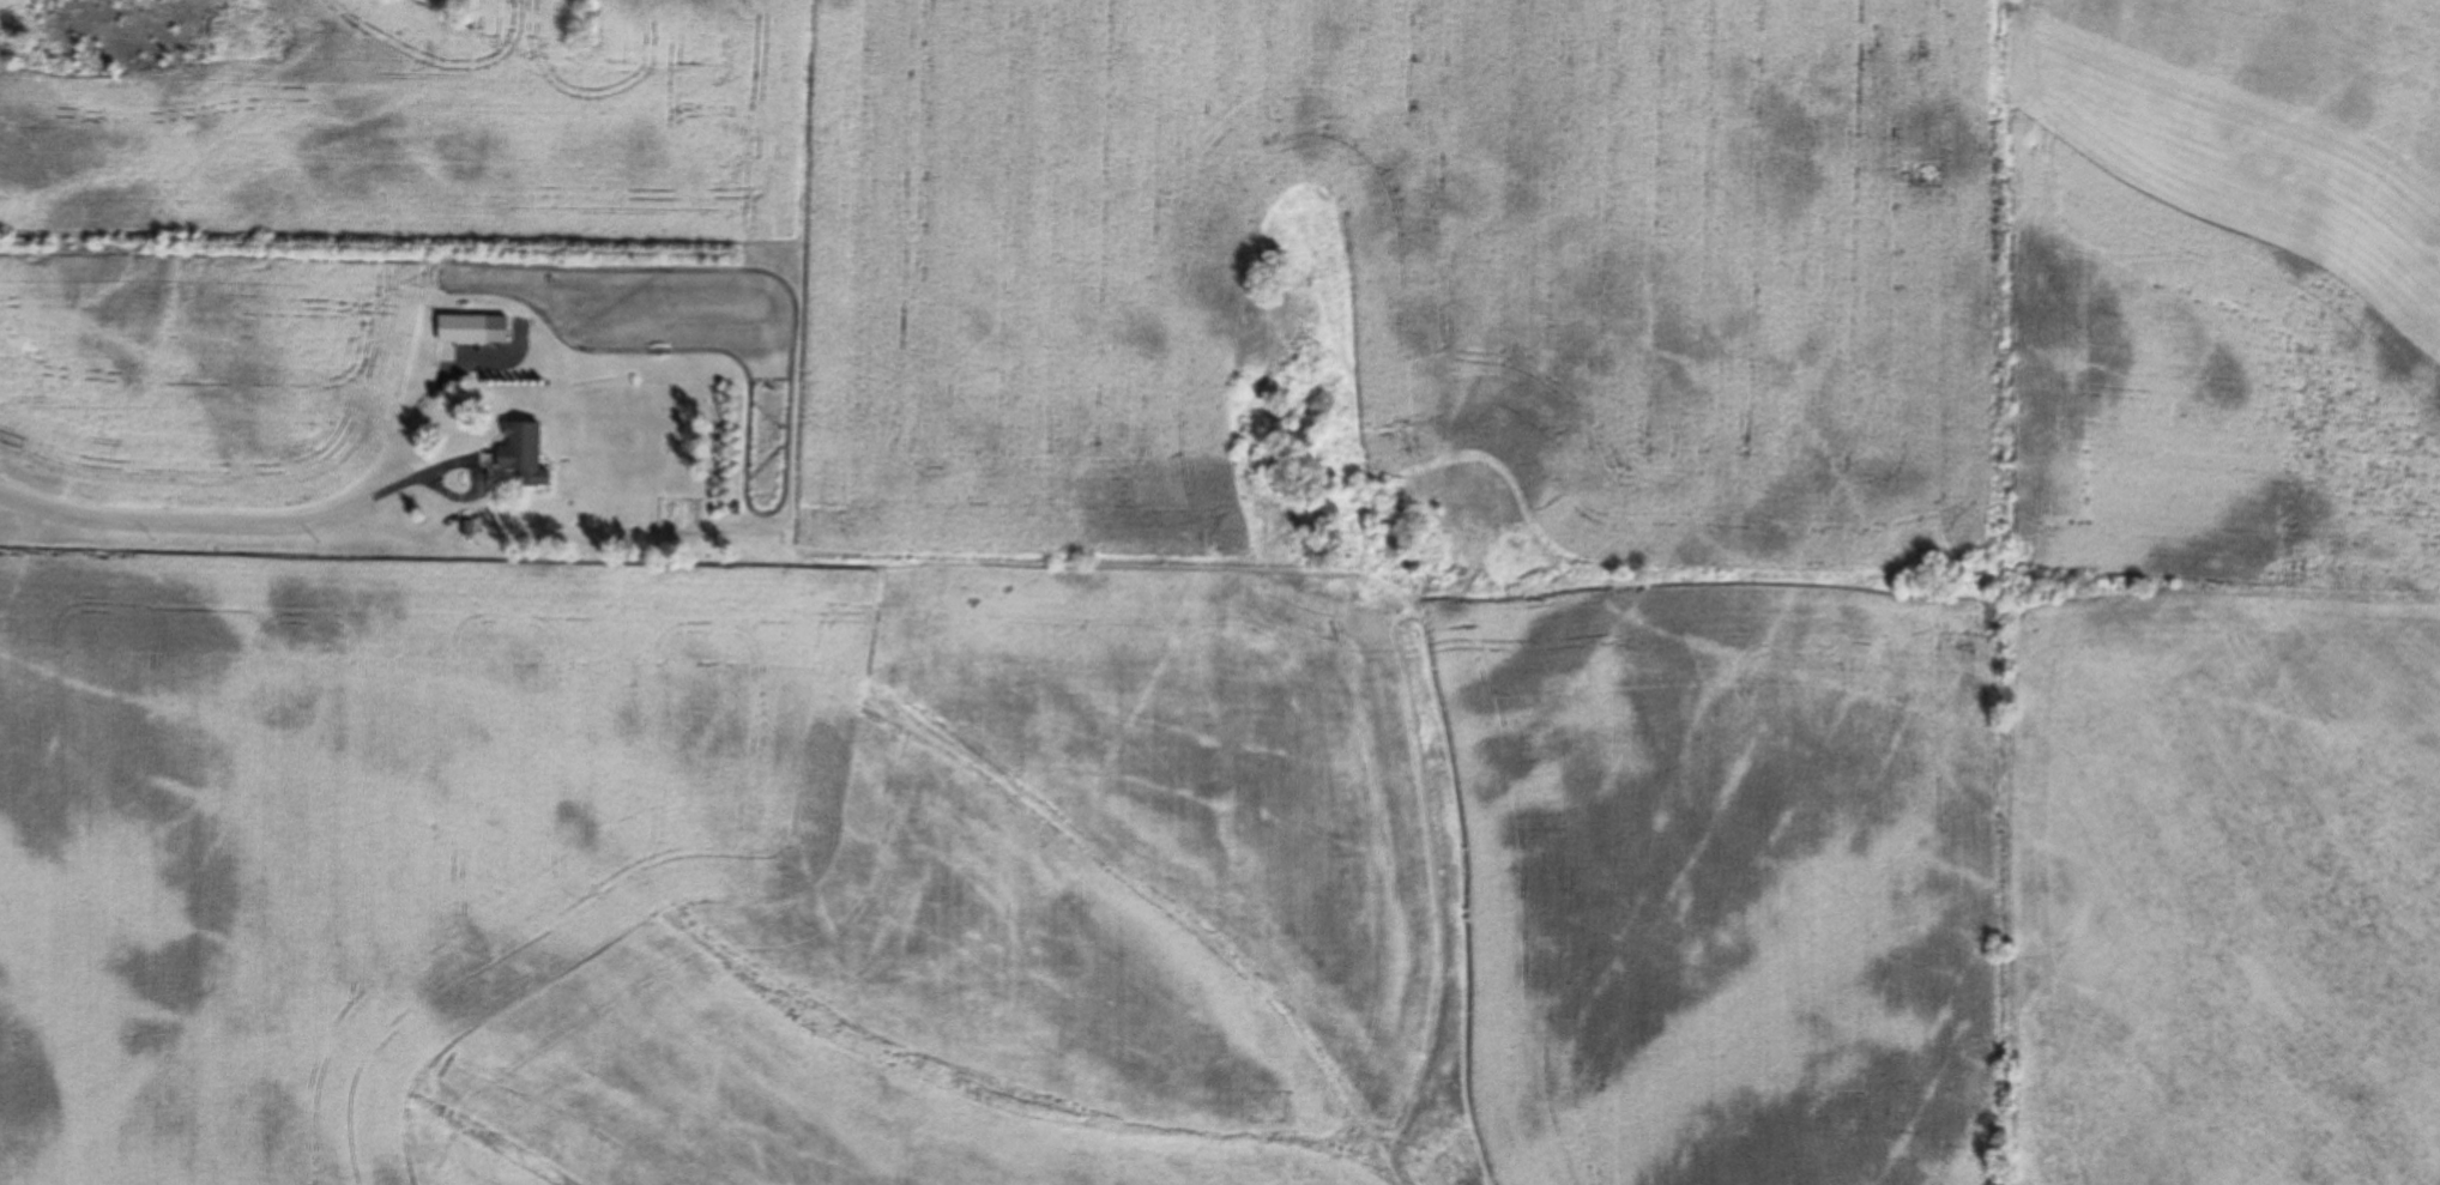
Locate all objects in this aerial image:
building: (461, 324)
road: (415, 409)
building: (520, 445)
road: (464, 458)
road: (401, 477)
road: (182, 513)

